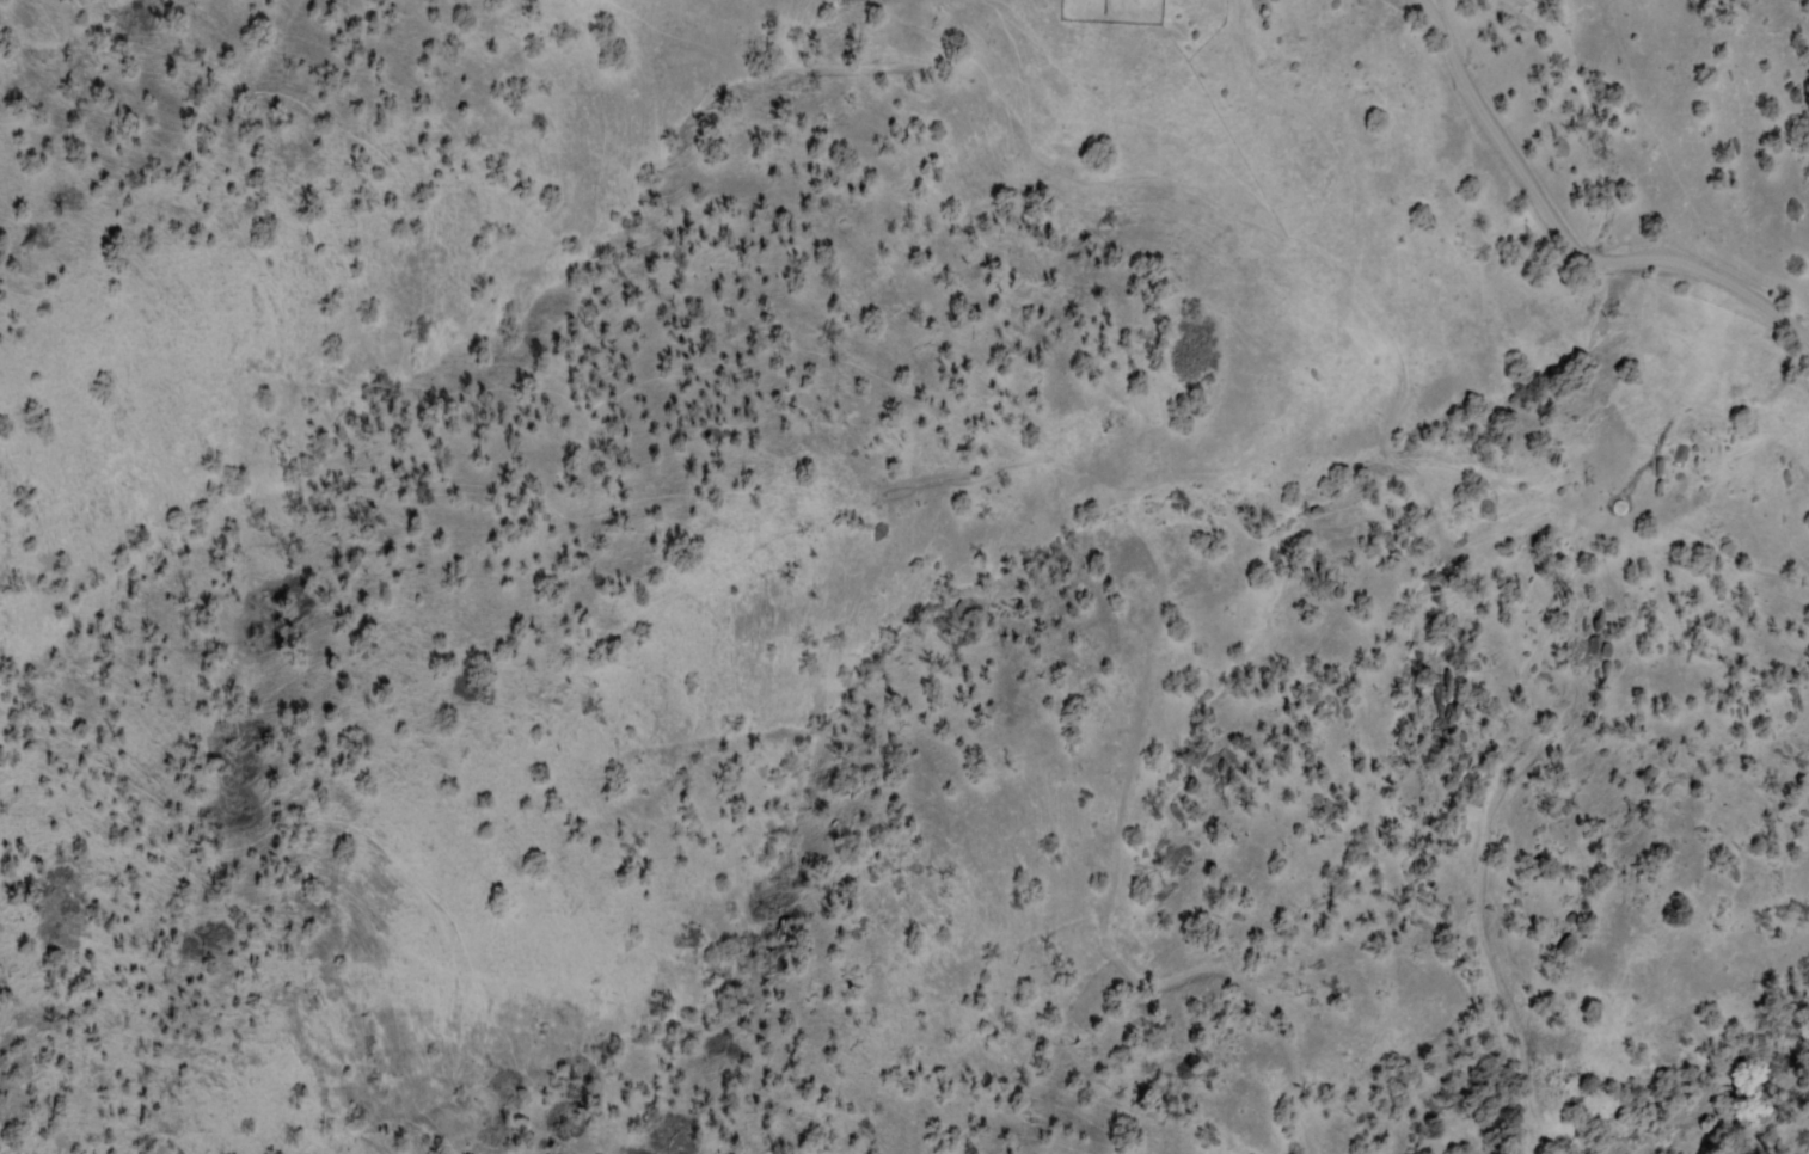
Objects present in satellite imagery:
road: (1647, 269)

